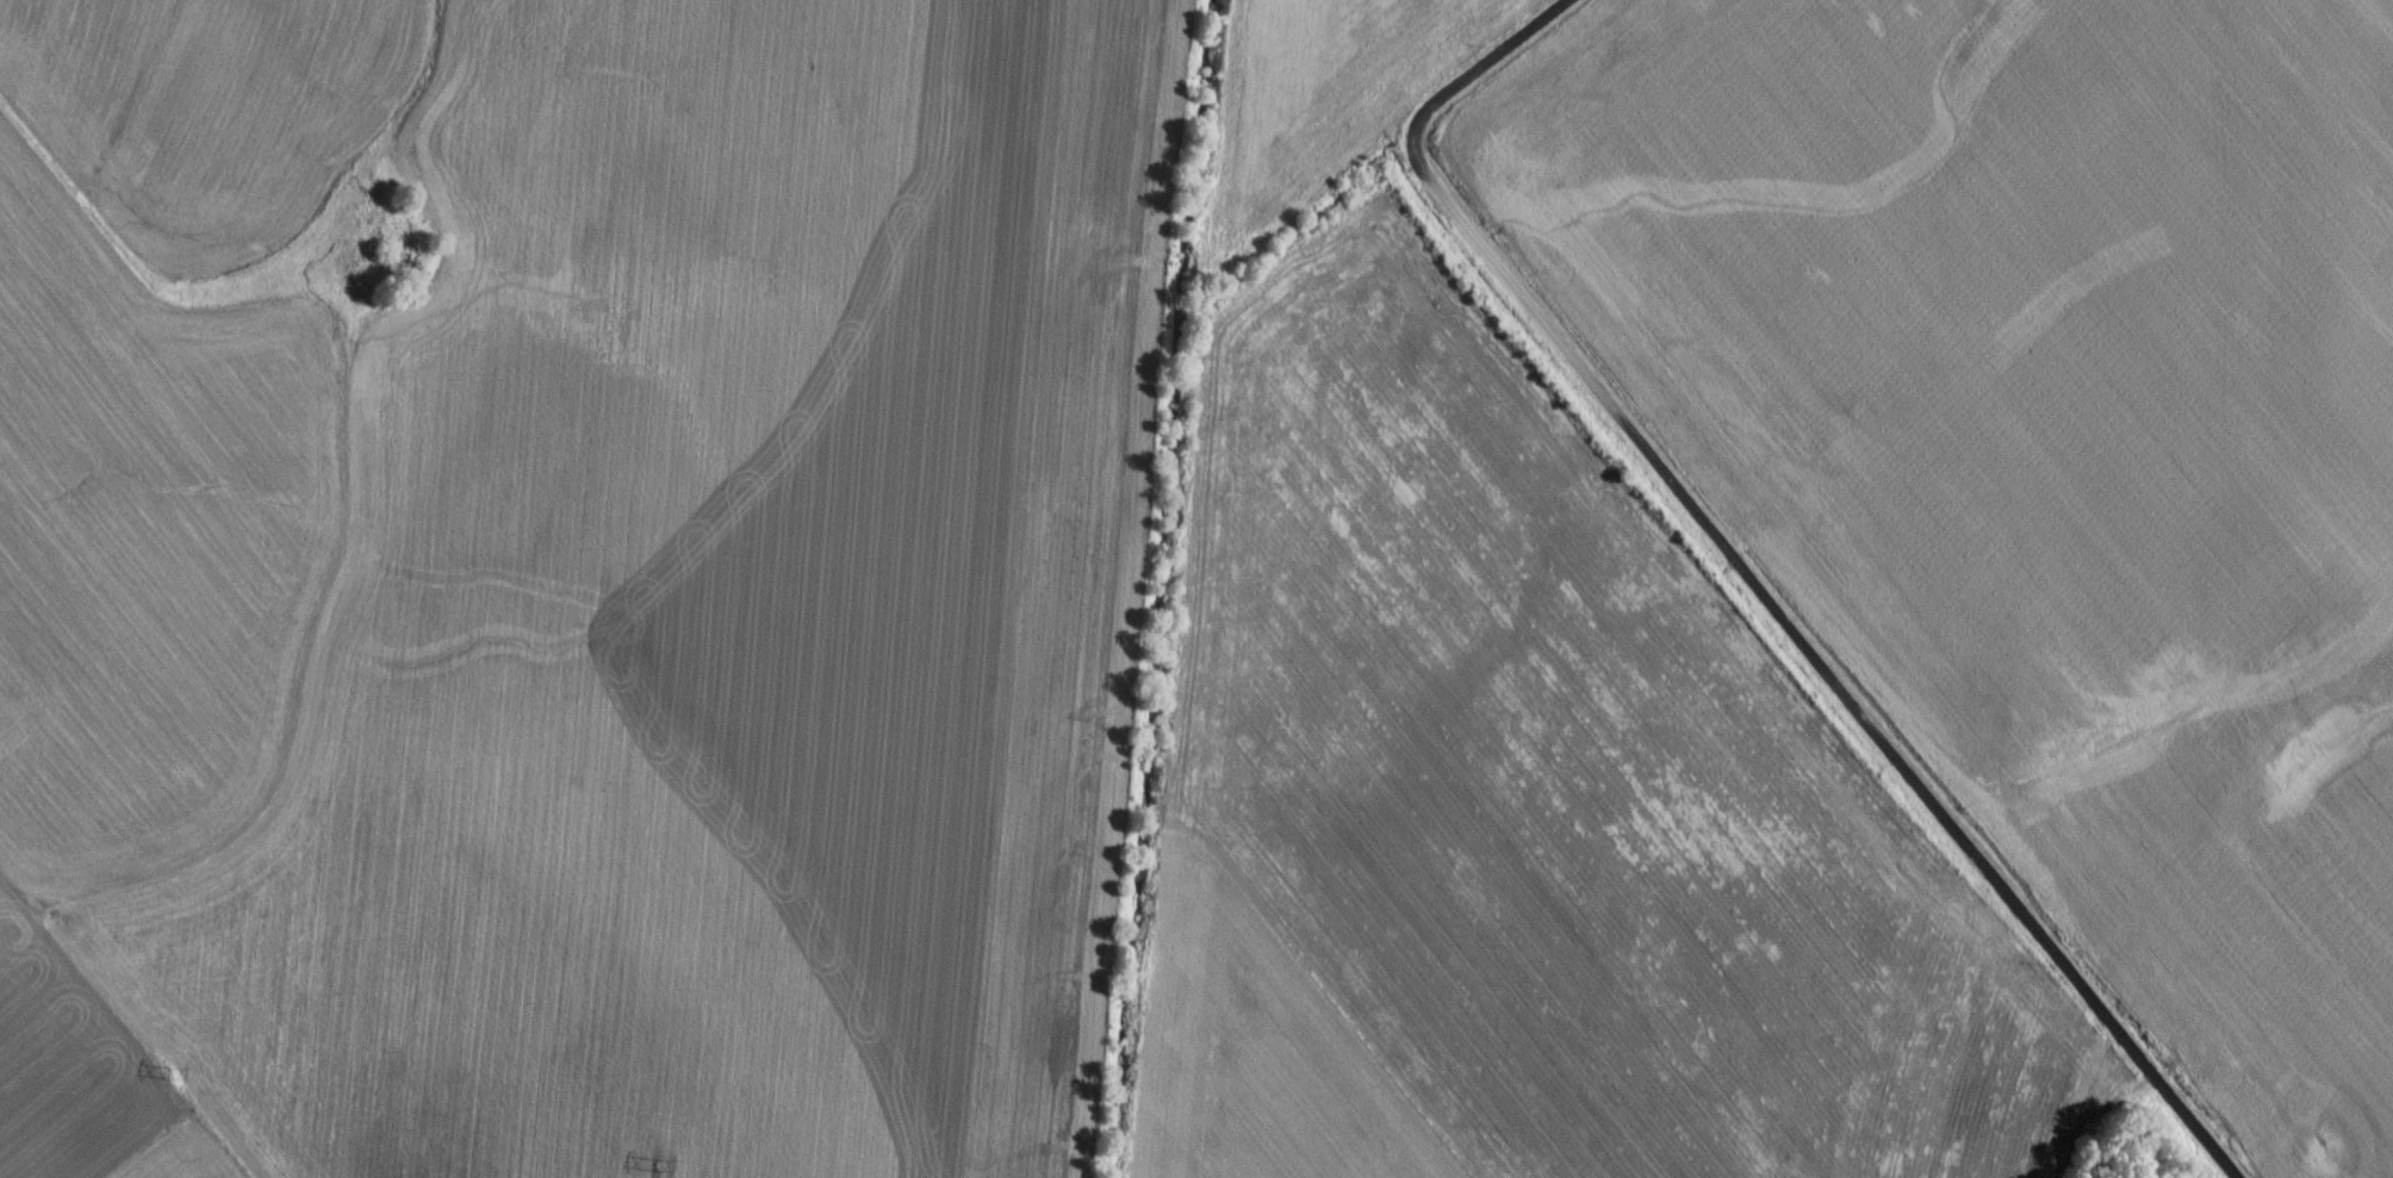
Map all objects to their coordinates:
road: (1486, 68)
road: (1817, 665)

